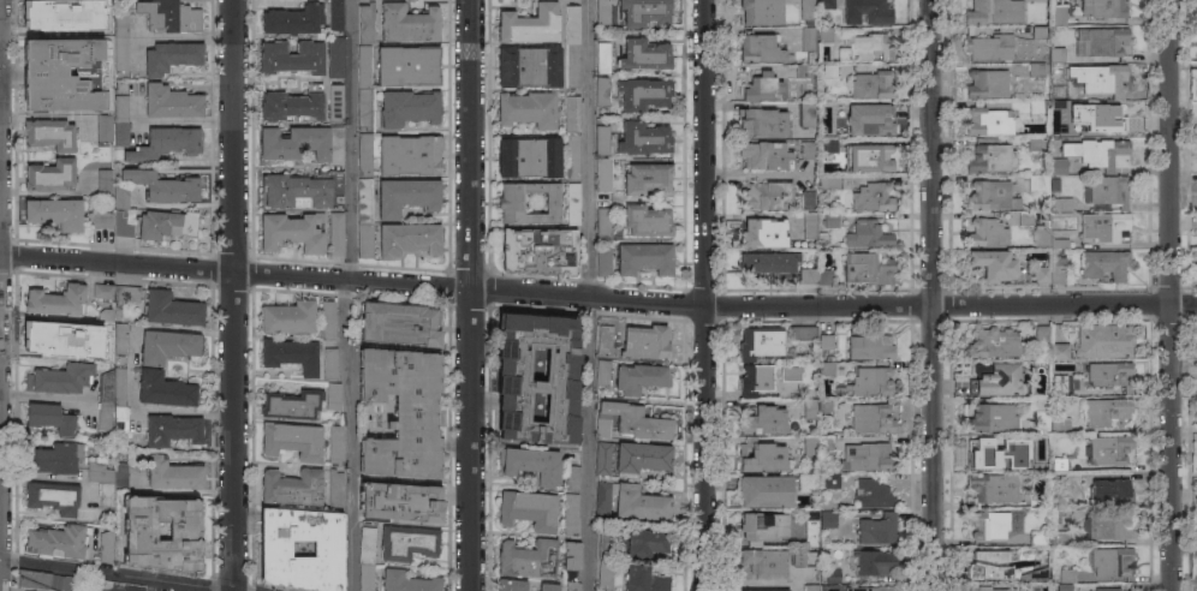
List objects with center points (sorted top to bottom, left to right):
building: (791, 0)
building: (1040, 1)
building: (826, 4)
building: (1100, 7)
building: (806, 10)
building: (761, 11)
building: (867, 11)
building: (644, 12)
building: (994, 12)
building: (55, 13)
building: (603, 13)
building: (337, 14)
building: (1059, 14)
building: (168, 16)
building: (293, 19)
building: (106, 20)
building: (367, 23)
building: (409, 23)
building: (529, 24)
building: (120, 25)
building: (572, 25)
building: (1038, 31)
building: (826, 35)
building: (808, 38)
building: (1101, 41)
building: (864, 47)
building: (990, 47)
building: (761, 48)
building: (120, 53)
building: (1058, 53)
building: (644, 54)
building: (169, 56)
building: (292, 56)
building: (335, 58)
building: (602, 58)
building: (409, 65)
building: (365, 66)
building: (528, 66)
building: (572, 66)
building: (1036, 70)
building: (802, 71)
building: (64, 74)
building: (830, 74)
building: (1106, 80)
building: (987, 83)
building: (873, 84)
building: (760, 86)
building: (1060, 91)
building: (643, 92)
building: (602, 94)
building: (171, 102)
building: (335, 102)
building: (291, 106)
building: (1038, 106)
building: (839, 107)
building: (119, 108)
building: (365, 108)
building: (409, 108)
building: (528, 109)
building: (806, 113)
building: (572, 114)
building: (1106, 115)
building: (761, 120)
building: (989, 120)
building: (877, 121)
building: (103, 129)
building: (1059, 130)
building: (120, 133)
building: (49, 135)
road: (236, 136)
building: (643, 138)
road: (351, 141)
building: (601, 141)
building: (166, 143)
building: (303, 143)
building: (1035, 143)
road: (471, 145)
building: (830, 145)
building: (808, 149)
building: (1095, 151)
road: (930, 153)
road: (1172, 153)
building: (410, 154)
road: (705, 154)
building: (365, 155)
building: (573, 155)
building: (766, 155)
building: (528, 156)
building: (870, 157)
building: (991, 157)
building: (1059, 166)
building: (603, 174)
building: (49, 175)
building: (645, 178)
building: (103, 181)
building: (829, 183)
building: (1038, 183)
building: (163, 185)
building: (304, 190)
building: (1106, 191)
building: (120, 195)
building: (766, 195)
building: (991, 195)
building: (406, 196)
building: (873, 197)
building: (364, 199)
building: (808, 201)
building: (510, 203)
building: (573, 203)
building: (1060, 204)
building: (54, 213)
building: (1025, 217)
building: (101, 219)
building: (647, 220)
building: (830, 220)
building: (124, 222)
building: (603, 223)
building: (167, 225)
building: (810, 225)
building: (1104, 226)
building: (292, 232)
building: (987, 232)
building: (762, 233)
building: (335, 234)
building: (867, 234)
building: (1047, 238)
building: (365, 240)
building: (407, 240)
building: (540, 251)
building: (644, 258)
building: (603, 262)
building: (994, 263)
building: (1104, 263)
building: (769, 267)
building: (868, 268)
building: (1058, 269)
building: (1042, 274)
building: (808, 275)
building: (824, 277)
building: (103, 292)
building: (126, 293)
road: (586, 294)
road: (597, 299)
building: (55, 300)
building: (171, 309)
building: (107, 315)
building: (288, 317)
building: (328, 320)
building: (398, 326)
building: (803, 333)
building: (1042, 333)
building: (56, 338)
building: (113, 338)
building: (605, 339)
building: (1104, 340)
building: (645, 341)
building: (826, 341)
building: (760, 342)
building: (995, 344)
building: (168, 346)
building: (869, 346)
building: (1043, 347)
building: (1060, 352)
building: (290, 354)
building: (329, 364)
building: (559, 369)
building: (826, 370)
building: (602, 371)
building: (791, 374)
building: (1109, 374)
building: (59, 377)
building: (639, 377)
building: (995, 378)
building: (755, 380)
building: (868, 382)
building: (1059, 384)
building: (113, 386)
building: (166, 389)
building: (333, 395)
road: (46, 398)
building: (291, 405)
building: (824, 405)
building: (810, 408)
building: (1106, 411)
building: (400, 412)
building: (105, 416)
building: (1041, 416)
building: (49, 417)
building: (120, 418)
building: (871, 418)
building: (993, 418)
building: (763, 420)
building: (631, 422)
building: (1060, 425)
building: (172, 429)
road: (236, 431)
road: (347, 435)
building: (292, 440)
road: (472, 441)
building: (826, 442)
building: (335, 444)
building: (810, 446)
road: (931, 448)
building: (994, 448)
road: (1173, 448)
road: (705, 449)
building: (1109, 449)
building: (602, 455)
building: (761, 455)
building: (868, 456)
building: (54, 458)
building: (641, 458)
building: (1025, 462)
building: (531, 464)
building: (1058, 464)
building: (173, 473)
building: (572, 478)
building: (107, 479)
building: (1064, 480)
building: (830, 482)
building: (805, 483)
building: (993, 486)
building: (292, 488)
building: (335, 488)
building: (763, 491)
building: (1109, 491)
building: (873, 494)
building: (53, 496)
building: (603, 499)
building: (399, 501)
building: (1037, 503)
building: (639, 505)
building: (528, 509)
building: (570, 512)
building: (828, 519)
building: (994, 523)
building: (762, 526)
building: (1109, 526)
building: (811, 529)
building: (877, 530)
building: (139, 531)
building: (1060, 537)
building: (1037, 538)
building: (605, 541)
building: (58, 542)
building: (407, 543)
building: (644, 543)
building: (365, 544)
building: (107, 545)
building: (274, 548)
building: (804, 557)
building: (528, 559)
building: (571, 561)
building: (763, 561)
building: (875, 561)
building: (1112, 561)
building: (1002, 566)
road: (123, 574)
building: (605, 574)
building: (833, 575)
building: (1067, 575)
building: (365, 577)
building: (644, 579)
building: (46, 580)
building: (407, 581)
building: (511, 585)
building: (547, 586)
building: (572, 586)
road: (198, 587)
building: (811, 587)
building: (859, 587)
building: (1064, 587)
building: (987, 589)
building: (1107, 589)
building: (762, 590)

